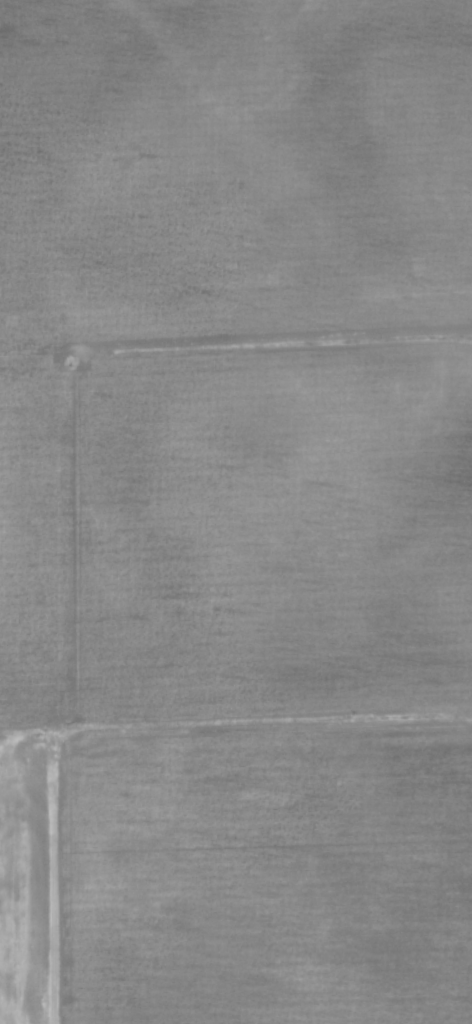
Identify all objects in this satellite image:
crop: (236, 512)

